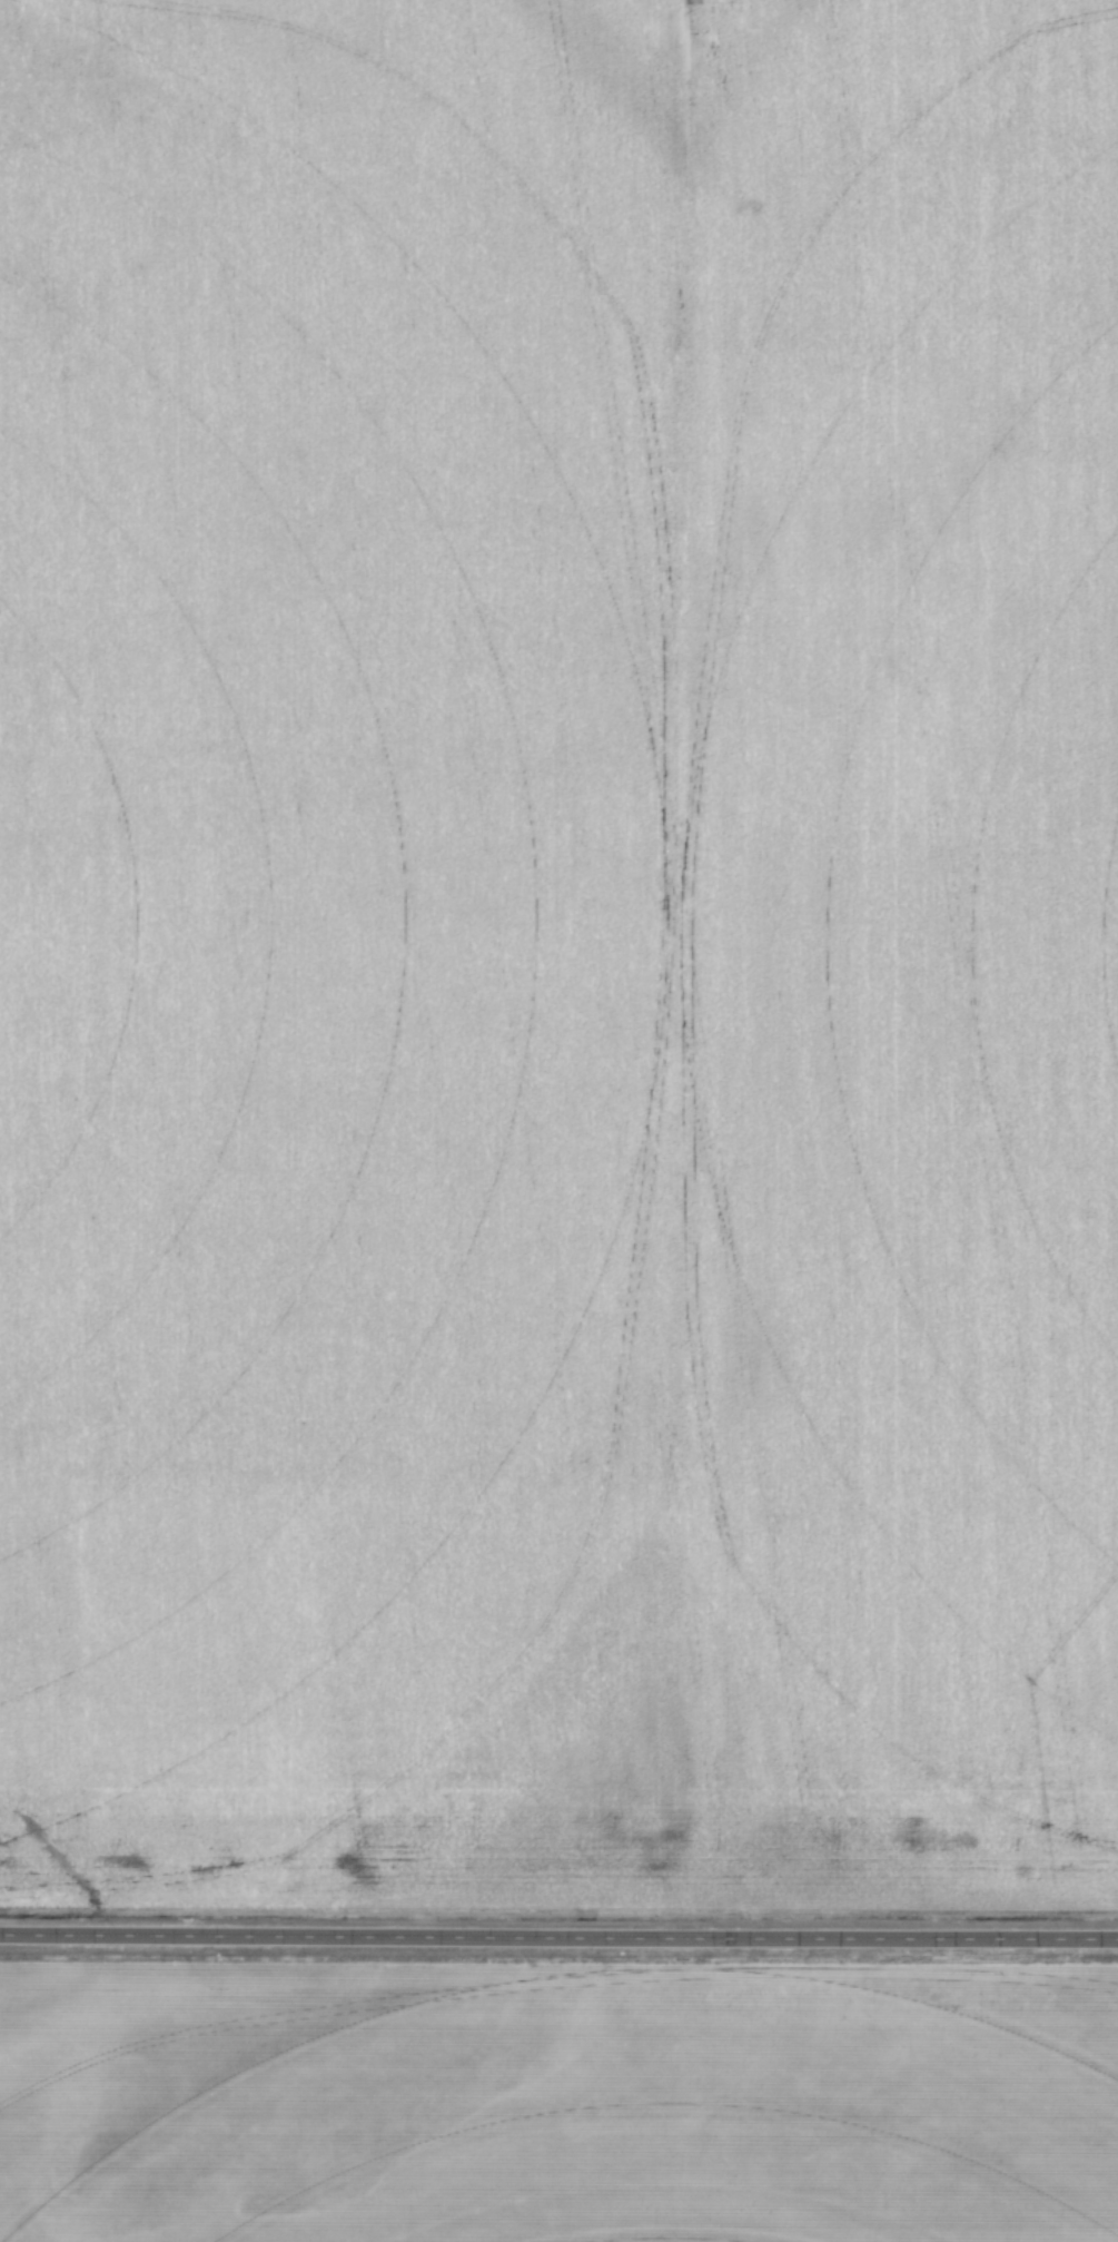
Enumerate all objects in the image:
road: (558, 1941)

